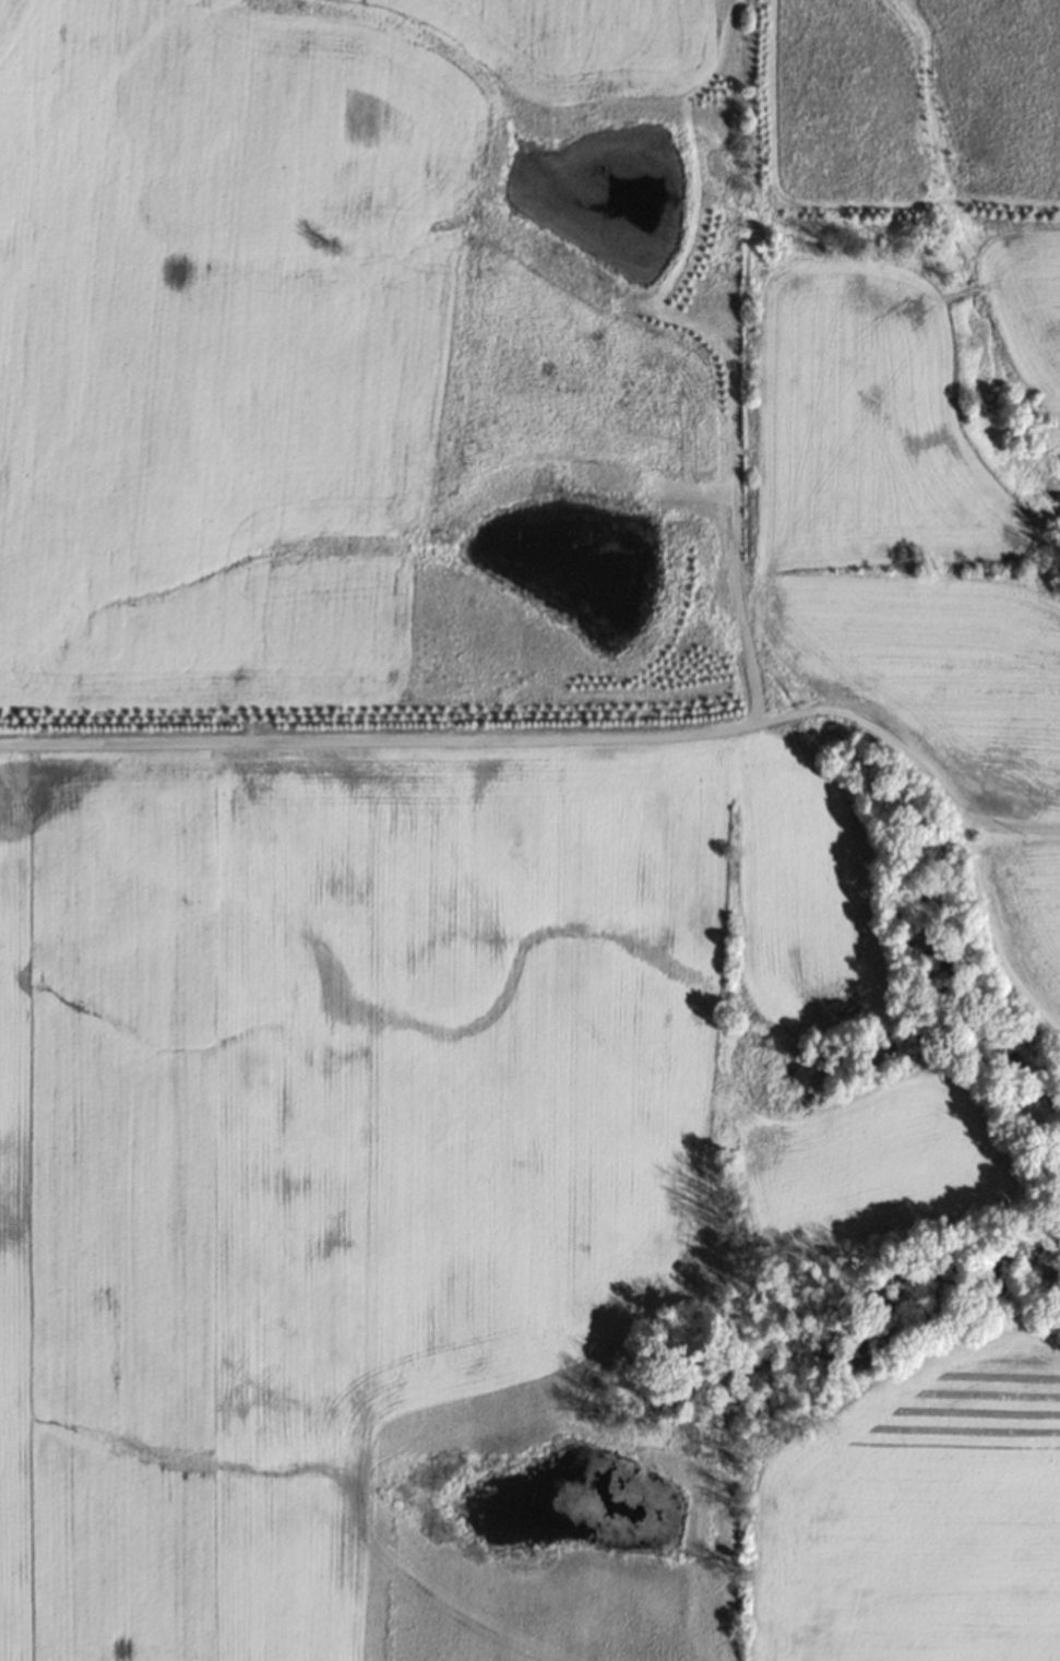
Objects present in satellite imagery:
road: (556, 743)
road: (980, 945)
crop: (458, 1220)

